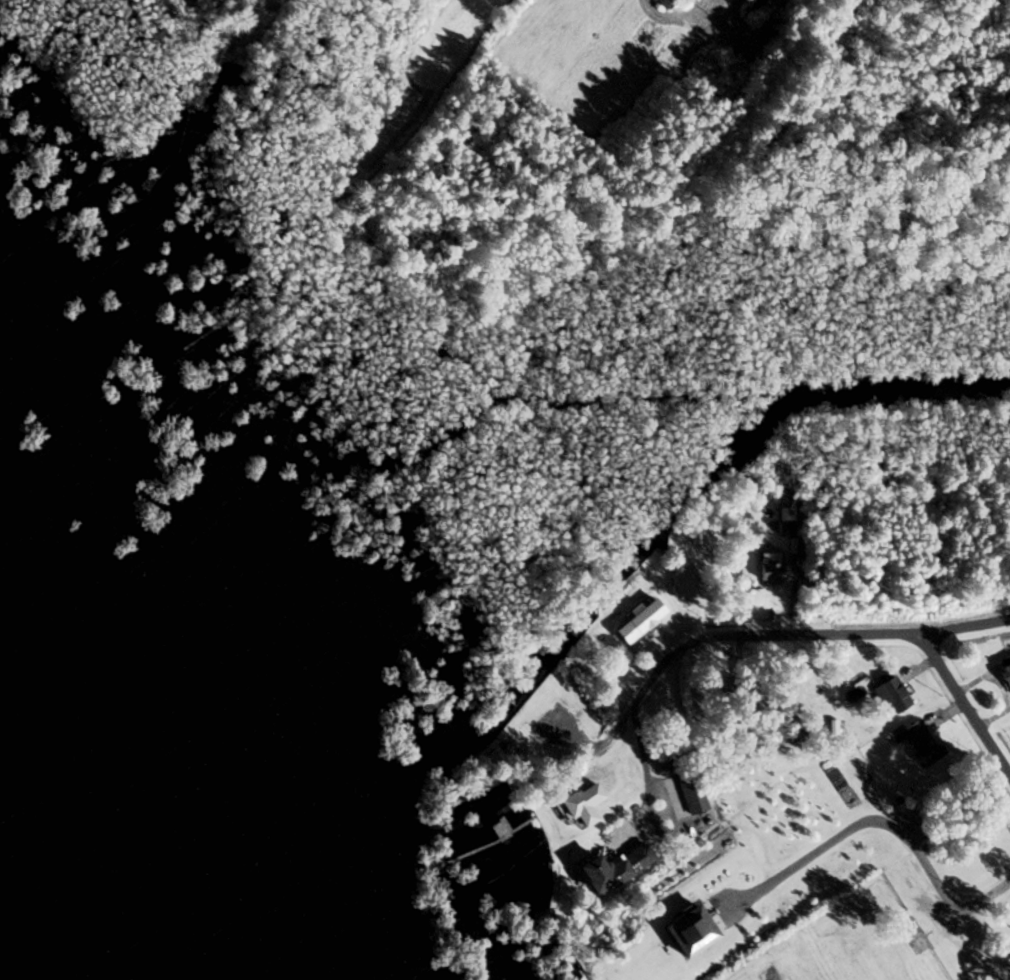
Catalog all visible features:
wastewater plant: (684, 4)
building: (648, 621)
road: (746, 642)
road: (777, 662)
building: (1003, 672)
building: (888, 694)
road: (971, 725)
building: (918, 741)
building: (591, 805)
building: (692, 811)
road: (628, 815)
road: (882, 831)
building: (613, 874)

